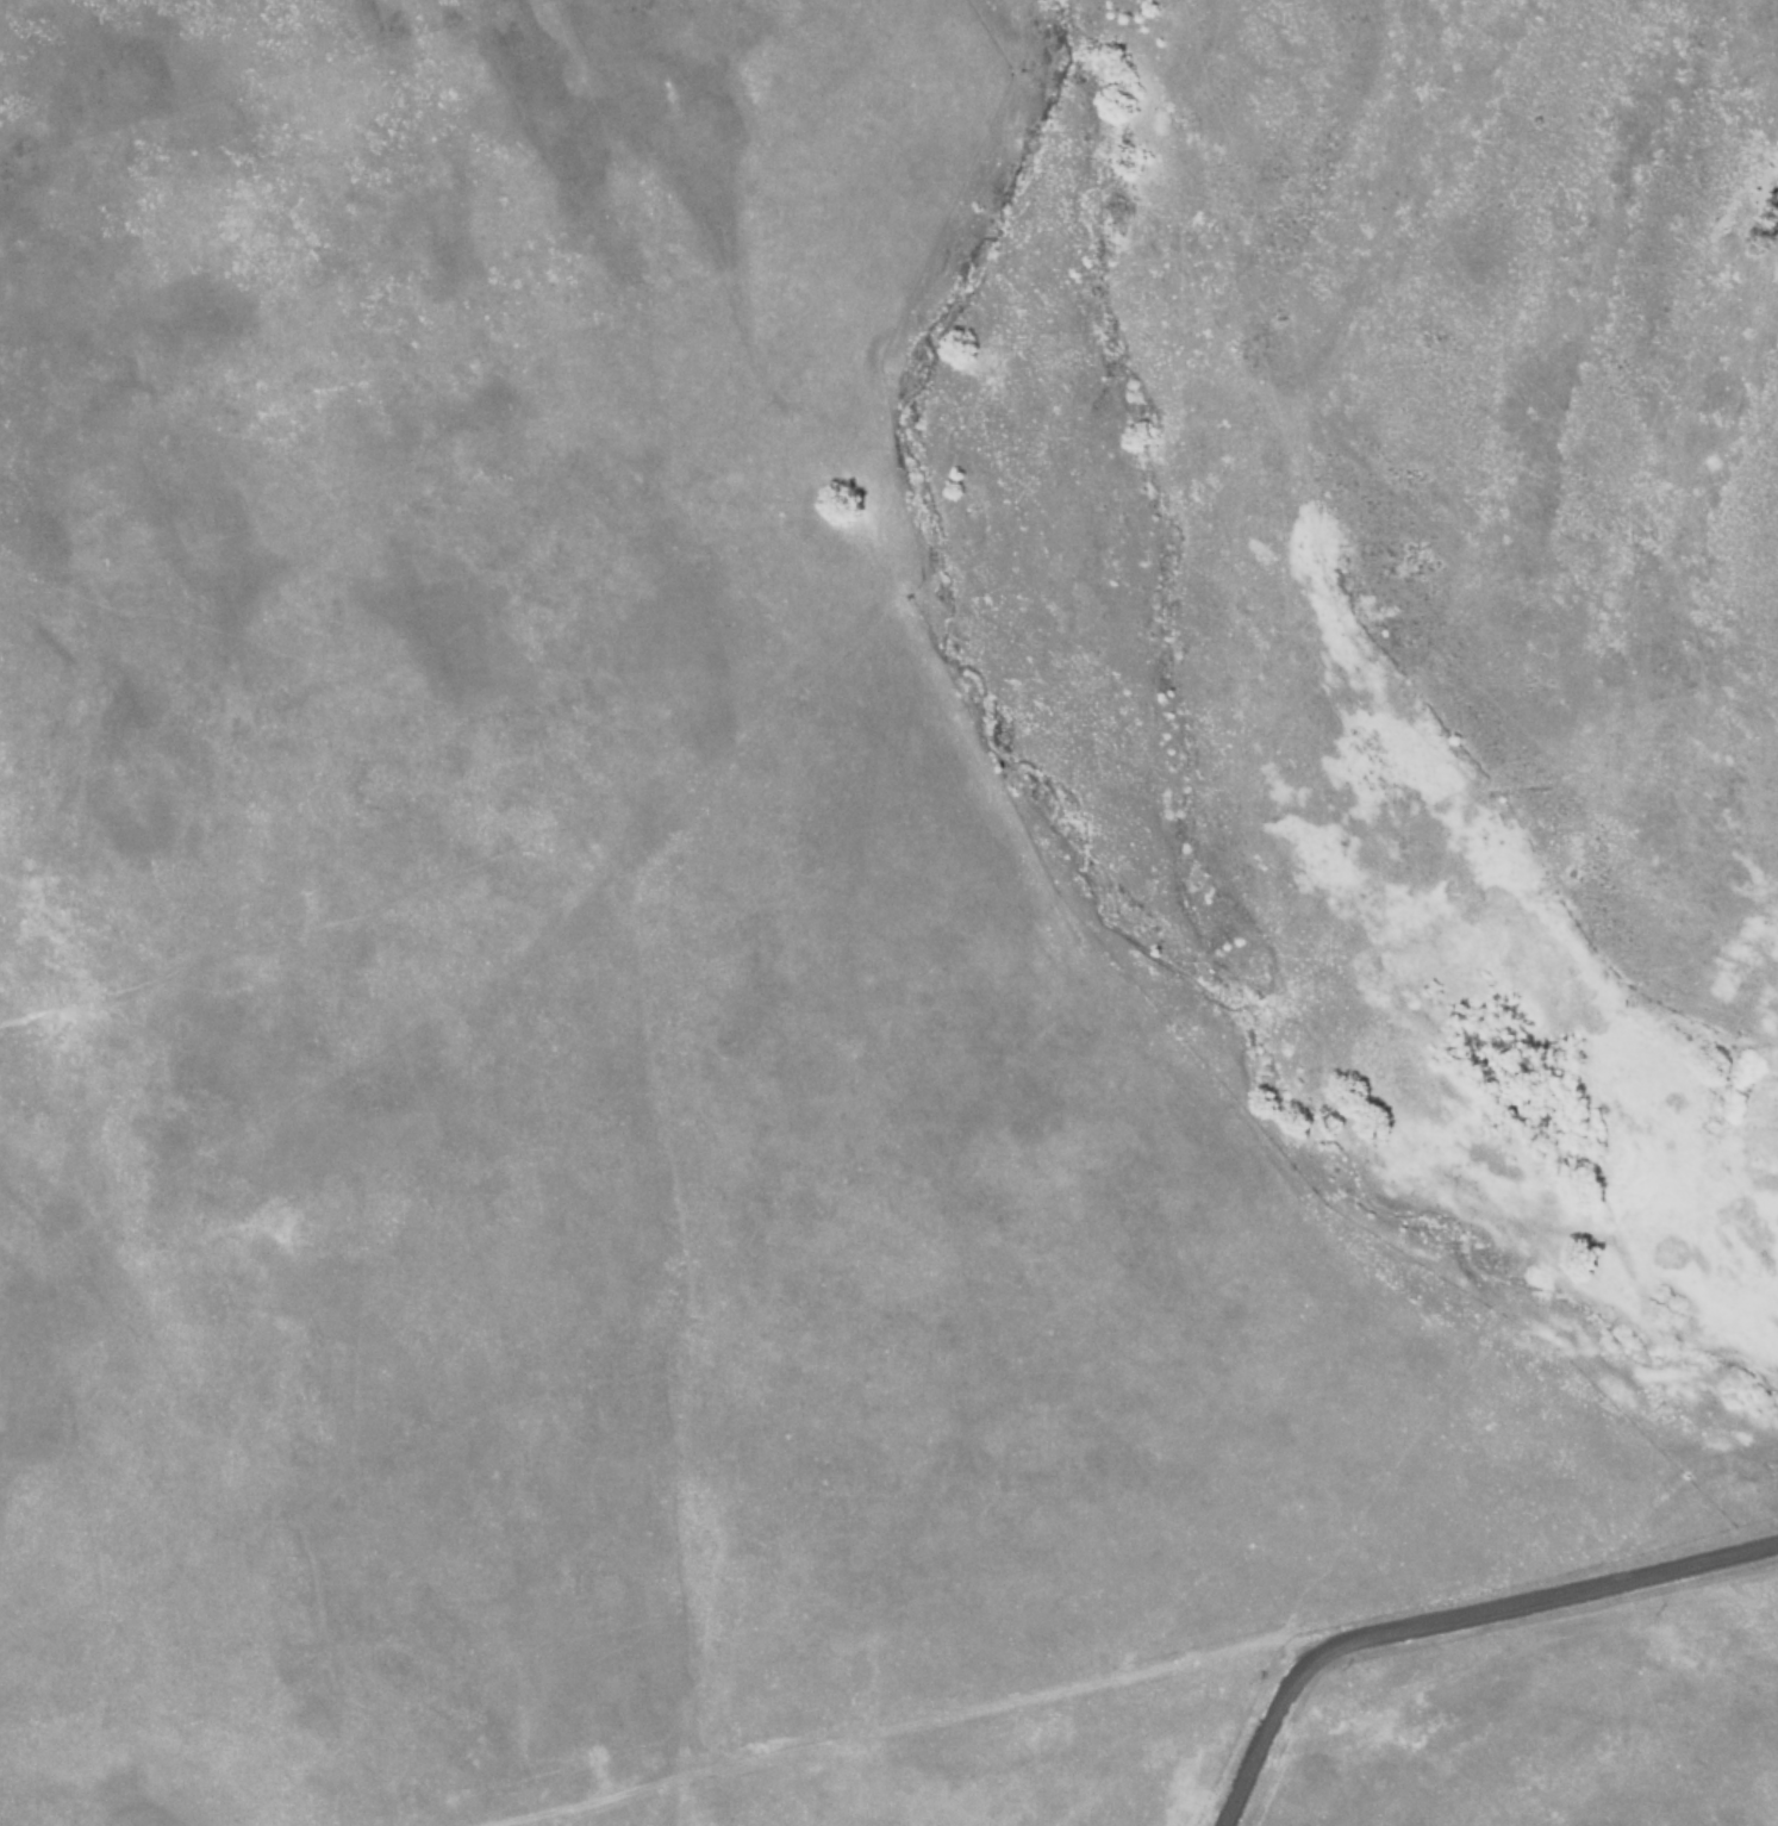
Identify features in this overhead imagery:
road: (1446, 1614)
road: (924, 1727)

